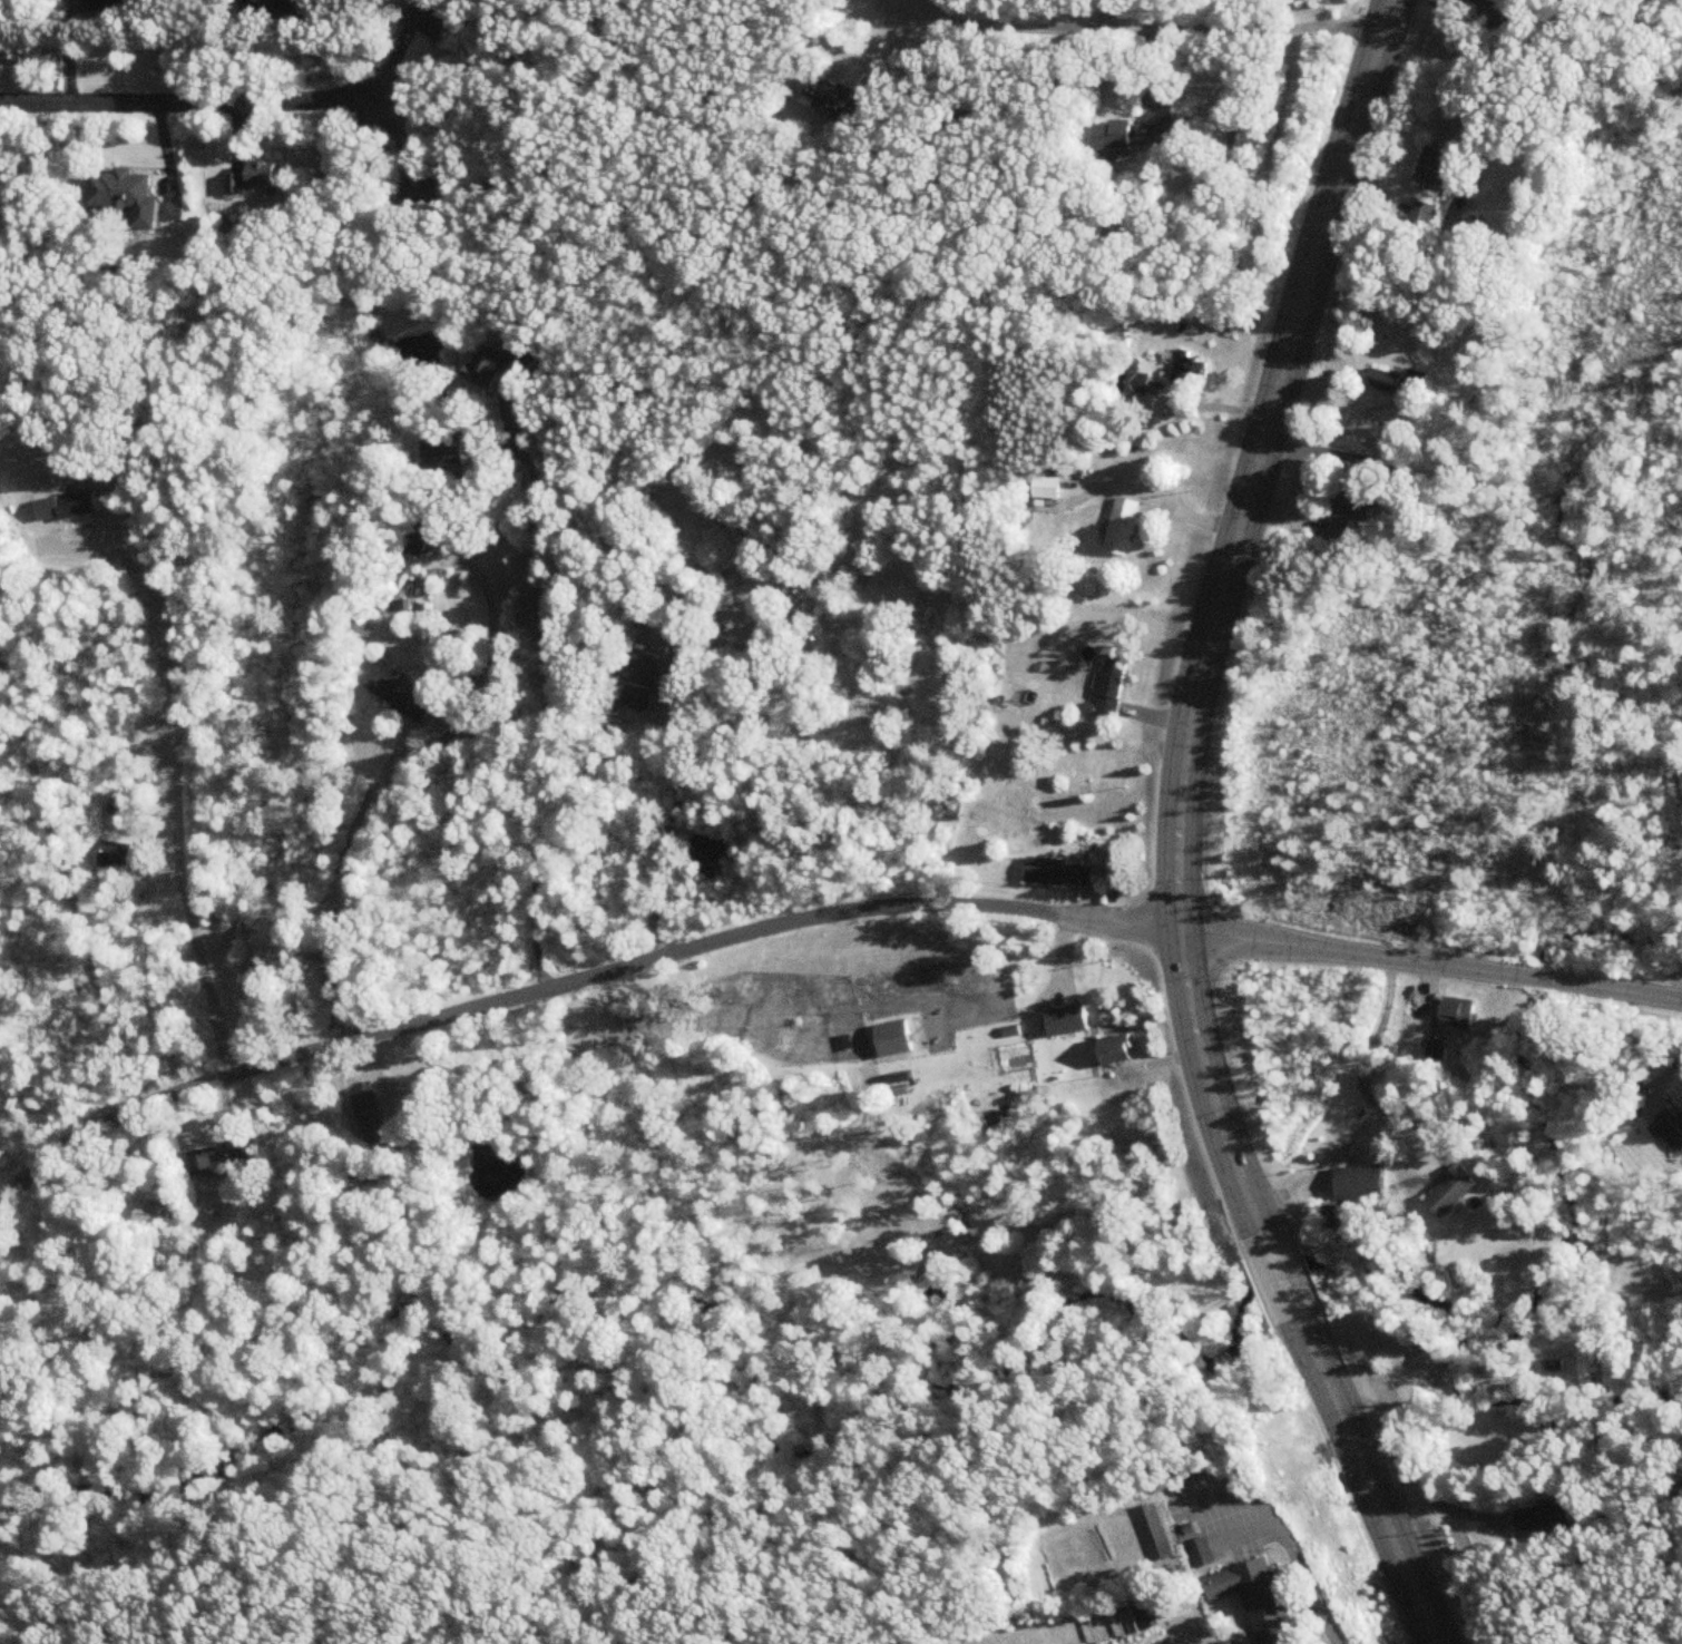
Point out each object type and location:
building: (1544, 3)
road: (1490, 4)
building: (110, 6)
road: (1506, 8)
building: (285, 10)
road: (1103, 13)
building: (429, 25)
road: (1050, 25)
building: (828, 97)
road: (196, 104)
building: (1136, 135)
building: (1437, 167)
building: (257, 177)
building: (125, 195)
building: (422, 195)
building: (1424, 214)
building: (497, 365)
building: (1189, 370)
building: (1132, 380)
building: (1388, 382)
building: (442, 451)
building: (1048, 493)
road: (1154, 501)
building: (1347, 509)
building: (1121, 527)
building: (417, 539)
building: (723, 547)
road: (475, 660)
building: (636, 683)
building: (1111, 686)
building: (404, 695)
road: (541, 705)
road: (679, 794)
road: (175, 810)
road: (1183, 833)
building: (116, 857)
building: (1059, 873)
road: (68, 881)
road: (336, 884)
road: (1369, 957)
road: (510, 999)
building: (211, 1008)
building: (1458, 1014)
building: (239, 1018)
building: (1066, 1020)
building: (893, 1039)
building: (1115, 1050)
building: (1436, 1050)
road: (1359, 1064)
road: (1657, 1078)
building: (369, 1117)
building: (1671, 1127)
building: (224, 1155)
building: (1360, 1185)
building: (384, 1186)
building: (1453, 1193)
building: (151, 1215)
building: (1337, 1220)
road: (1200, 1497)
road: (1447, 1503)
building: (1542, 1519)
building: (1200, 1554)
road: (1318, 1595)
building: (1255, 1599)
building: (1145, 1615)
road: (1015, 1628)
building: (1235, 1643)

